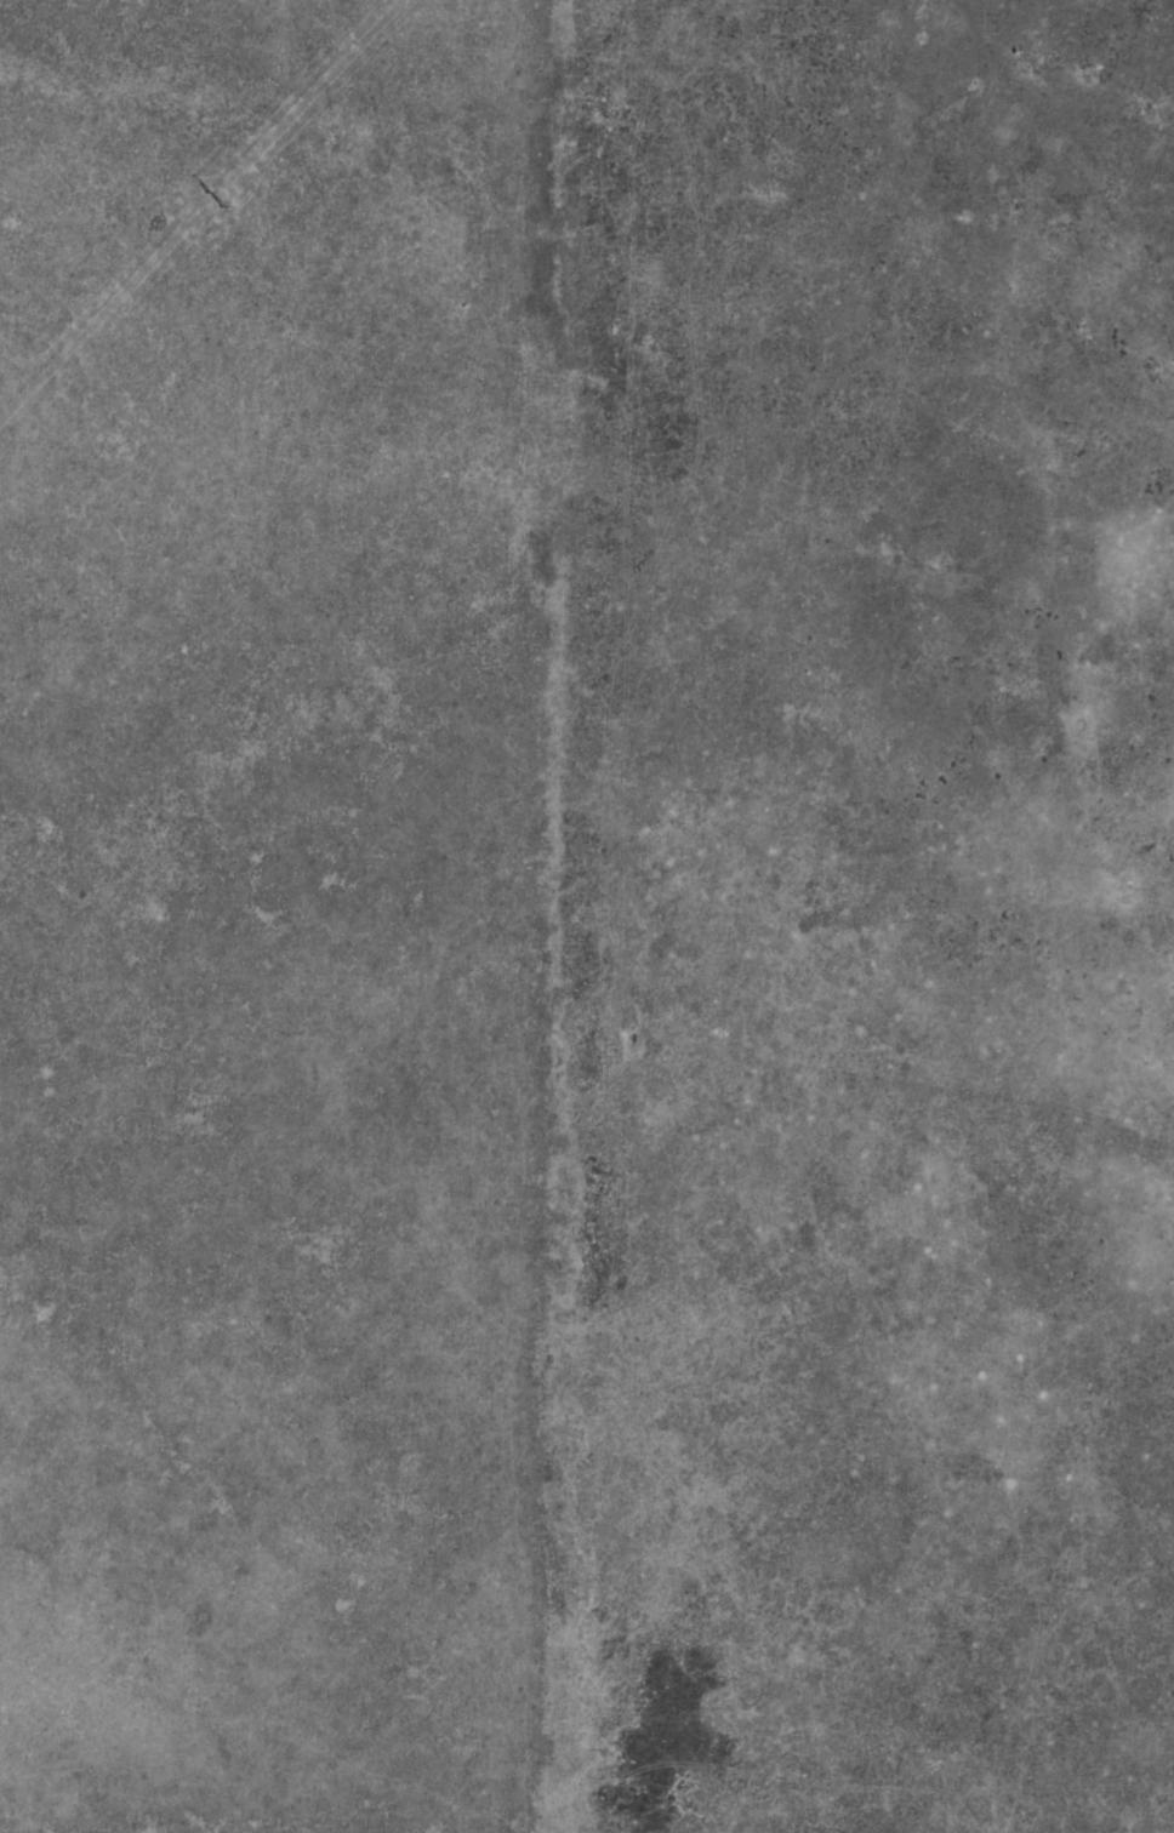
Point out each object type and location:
power tower: (213, 195)

